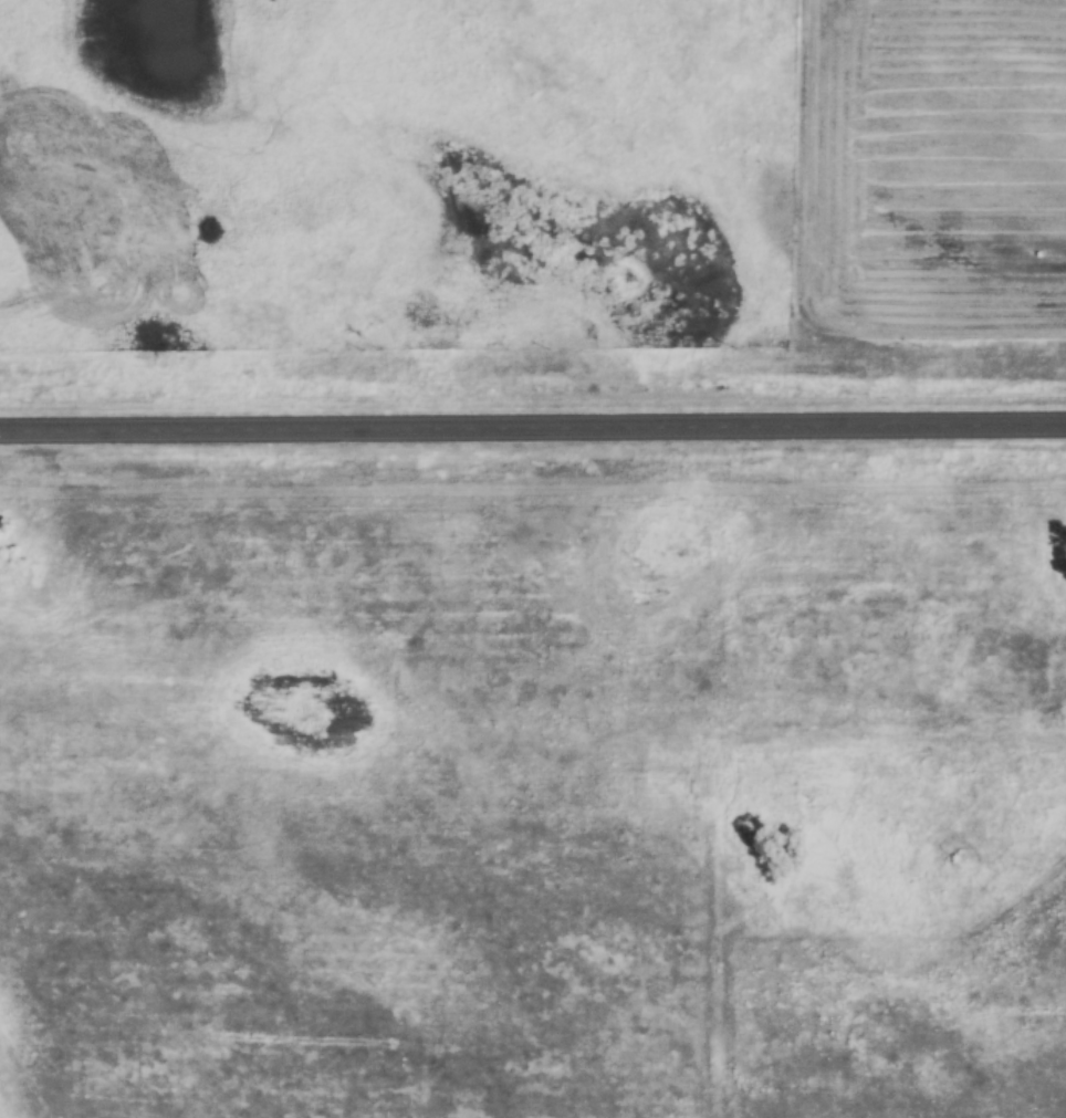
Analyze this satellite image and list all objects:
road: (533, 395)

